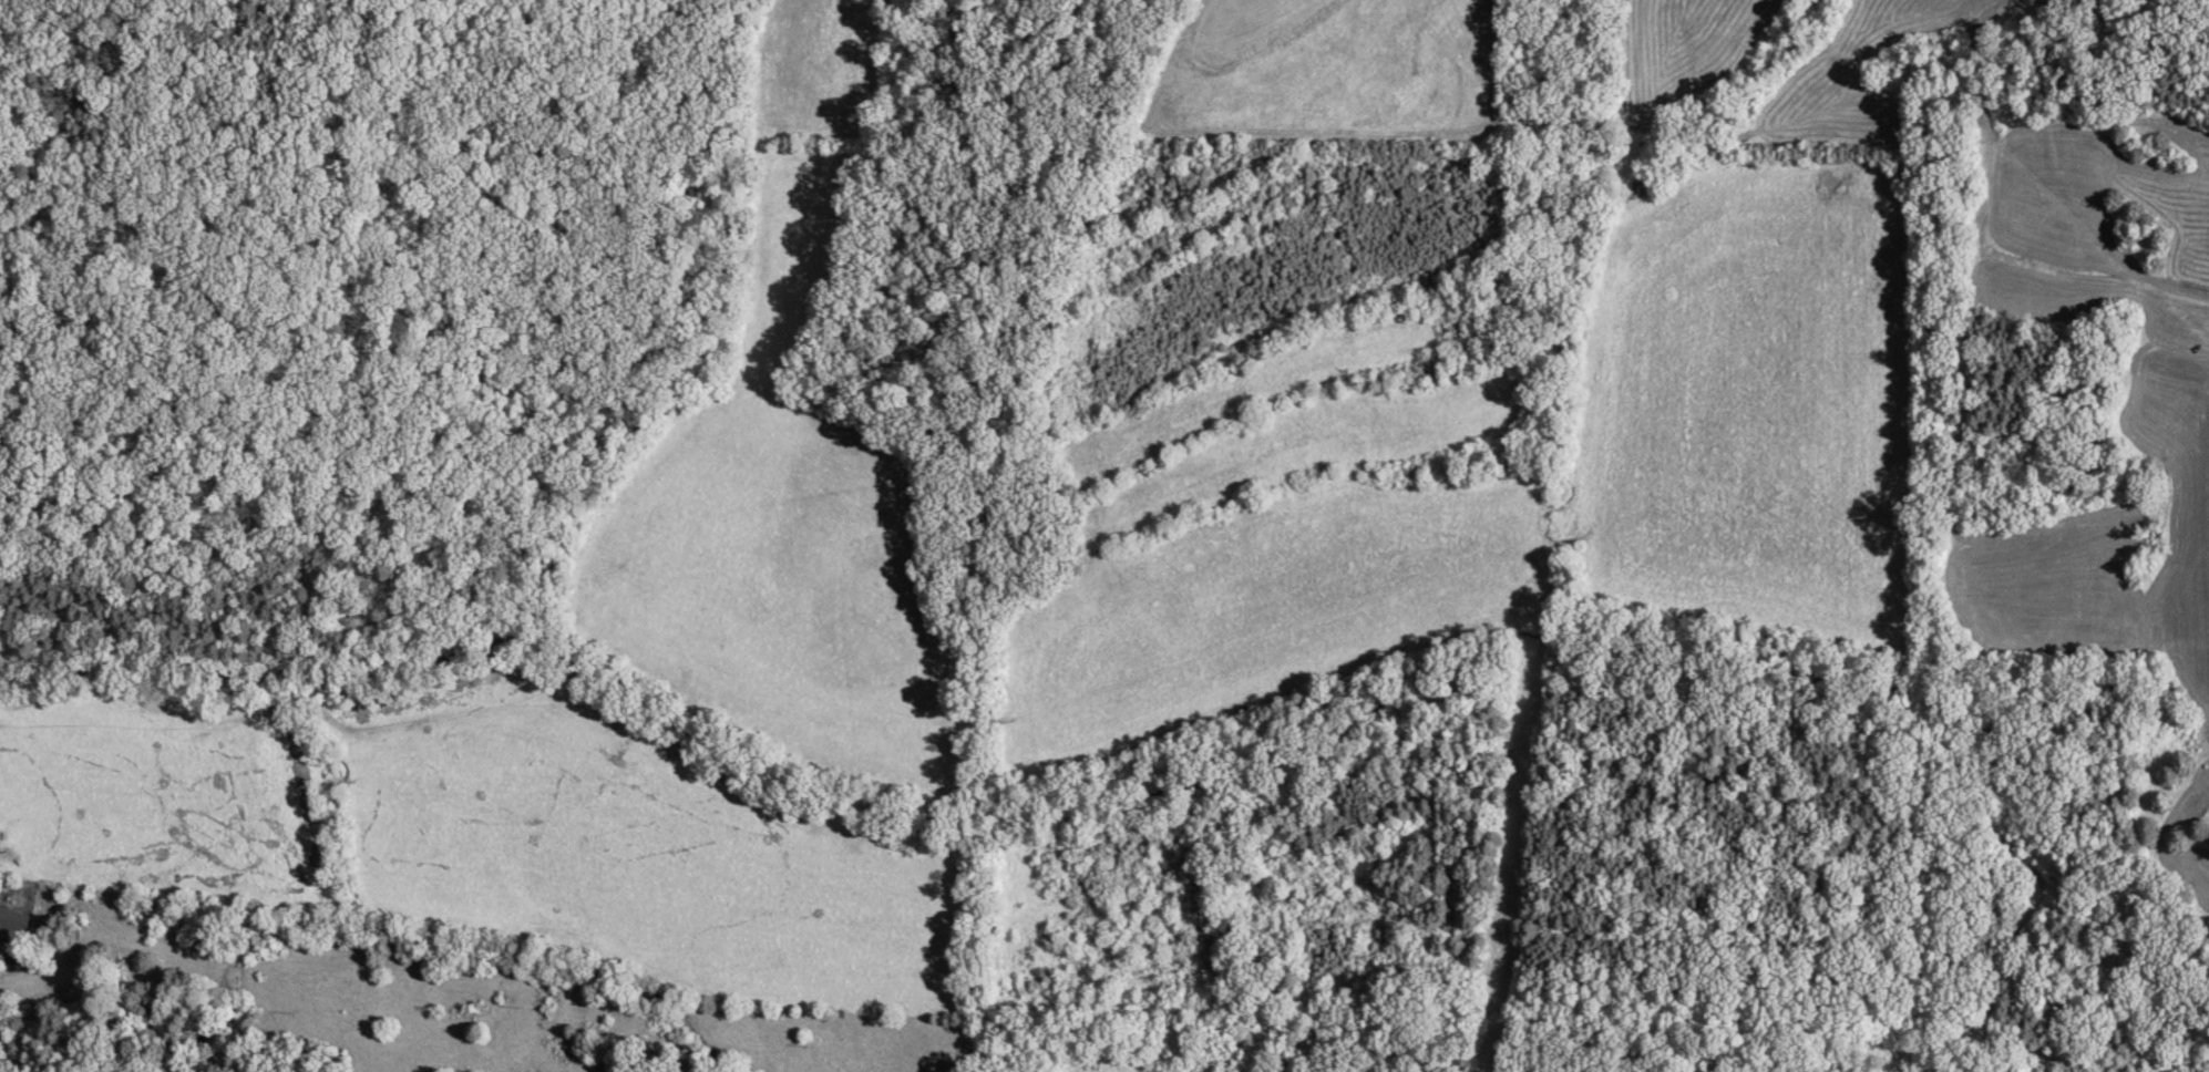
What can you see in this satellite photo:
building: (13, 928)

